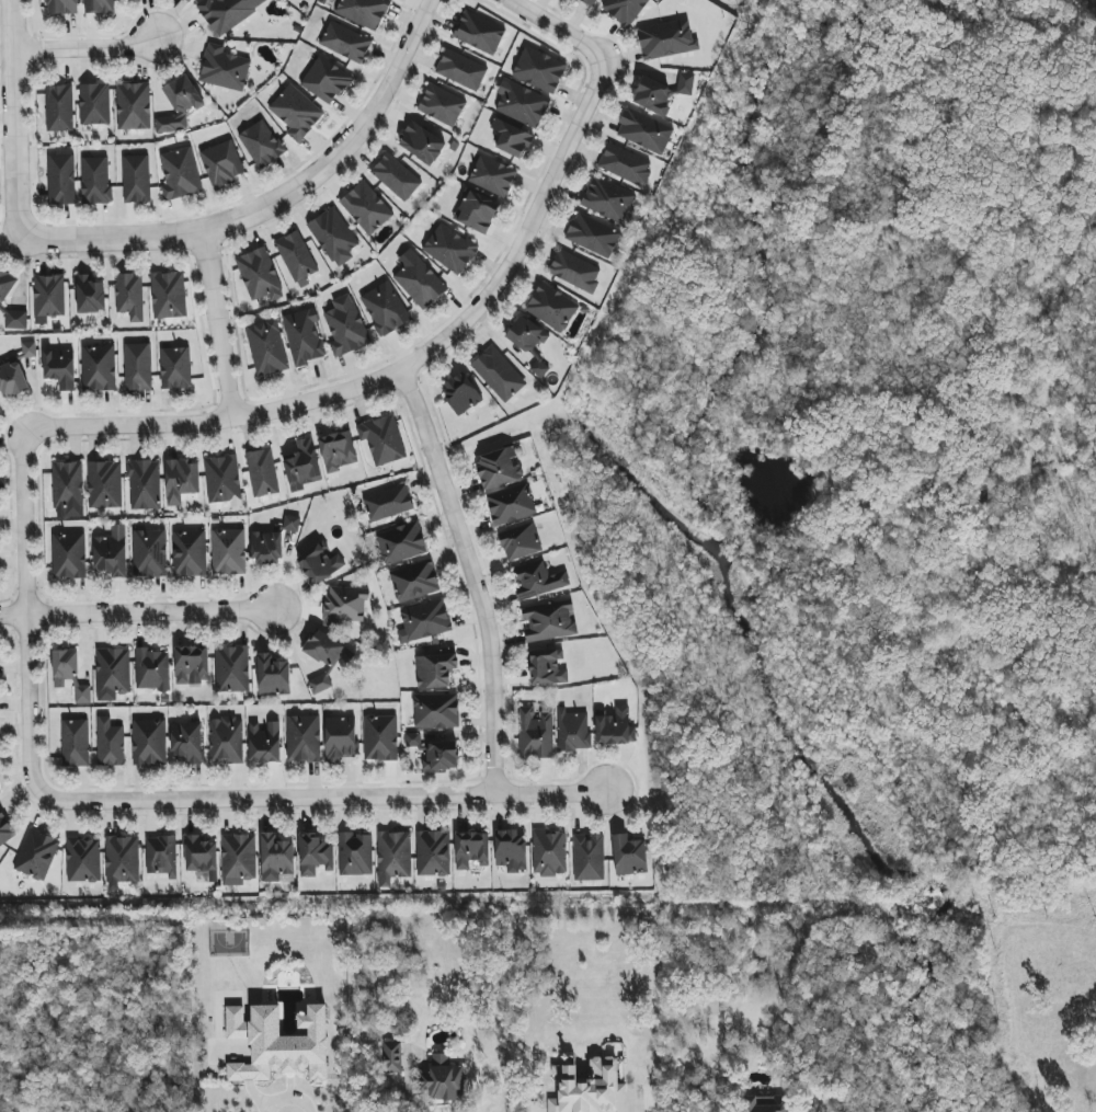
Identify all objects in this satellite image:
building: (589, 2)
building: (99, 5)
building: (62, 7)
building: (624, 10)
building: (227, 12)
building: (363, 12)
road: (555, 31)
building: (479, 33)
building: (666, 39)
building: (345, 43)
road: (83, 48)
building: (225, 69)
building: (539, 69)
building: (461, 70)
building: (326, 80)
building: (685, 83)
building: (652, 96)
building: (522, 103)
building: (94, 104)
building: (179, 104)
building: (442, 105)
building: (134, 106)
building: (59, 108)
building: (296, 113)
road: (13, 117)
building: (644, 131)
building: (512, 139)
building: (261, 144)
building: (422, 144)
building: (222, 163)
building: (625, 164)
building: (180, 174)
building: (492, 176)
building: (61, 177)
building: (396, 177)
building: (136, 180)
building: (95, 181)
building: (608, 199)
road: (275, 200)
building: (366, 208)
building: (477, 213)
building: (593, 236)
building: (333, 237)
building: (449, 249)
building: (296, 259)
building: (574, 271)
building: (260, 275)
building: (420, 283)
building: (5, 286)
building: (90, 295)
building: (169, 295)
building: (49, 296)
building: (130, 296)
building: (551, 307)
building: (385, 309)
building: (16, 320)
road: (215, 325)
building: (345, 326)
building: (527, 335)
building: (304, 336)
building: (266, 347)
building: (28, 348)
building: (138, 367)
building: (60, 368)
building: (99, 368)
building: (175, 368)
building: (538, 368)
road: (398, 372)
building: (499, 374)
building: (12, 380)
building: (461, 393)
building: (383, 439)
building: (338, 450)
building: (302, 466)
building: (499, 468)
building: (262, 472)
building: (222, 479)
building: (181, 481)
building: (68, 484)
building: (104, 484)
building: (144, 485)
building: (388, 503)
building: (511, 505)
building: (272, 542)
building: (401, 543)
building: (521, 543)
building: (112, 552)
building: (228, 552)
building: (149, 553)
building: (190, 553)
building: (69, 557)
building: (320, 563)
road: (468, 577)
building: (537, 580)
building: (414, 582)
building: (346, 605)
road: (24, 609)
road: (137, 611)
building: (549, 620)
building: (424, 621)
building: (326, 658)
building: (192, 665)
building: (547, 667)
building: (232, 669)
building: (151, 670)
building: (435, 670)
building: (69, 674)
building: (113, 674)
building: (274, 676)
building: (436, 711)
building: (615, 727)
building: (573, 730)
building: (535, 733)
building: (302, 738)
building: (341, 738)
building: (380, 738)
building: (227, 740)
building: (149, 742)
building: (76, 743)
building: (189, 743)
building: (265, 743)
building: (111, 744)
building: (436, 753)
building: (0, 790)
road: (321, 794)
building: (5, 830)
building: (512, 849)
building: (472, 850)
building: (549, 852)
building: (433, 853)
building: (36, 855)
building: (355, 855)
building: (161, 856)
building: (316, 856)
building: (629, 856)
building: (393, 857)
building: (589, 857)
building: (202, 858)
building: (83, 859)
building: (238, 859)
building: (277, 859)
building: (122, 861)
building: (281, 1043)
building: (392, 1061)
building: (444, 1079)
road: (403, 1088)
building: (590, 1089)
road: (287, 1102)
building: (765, 1103)

